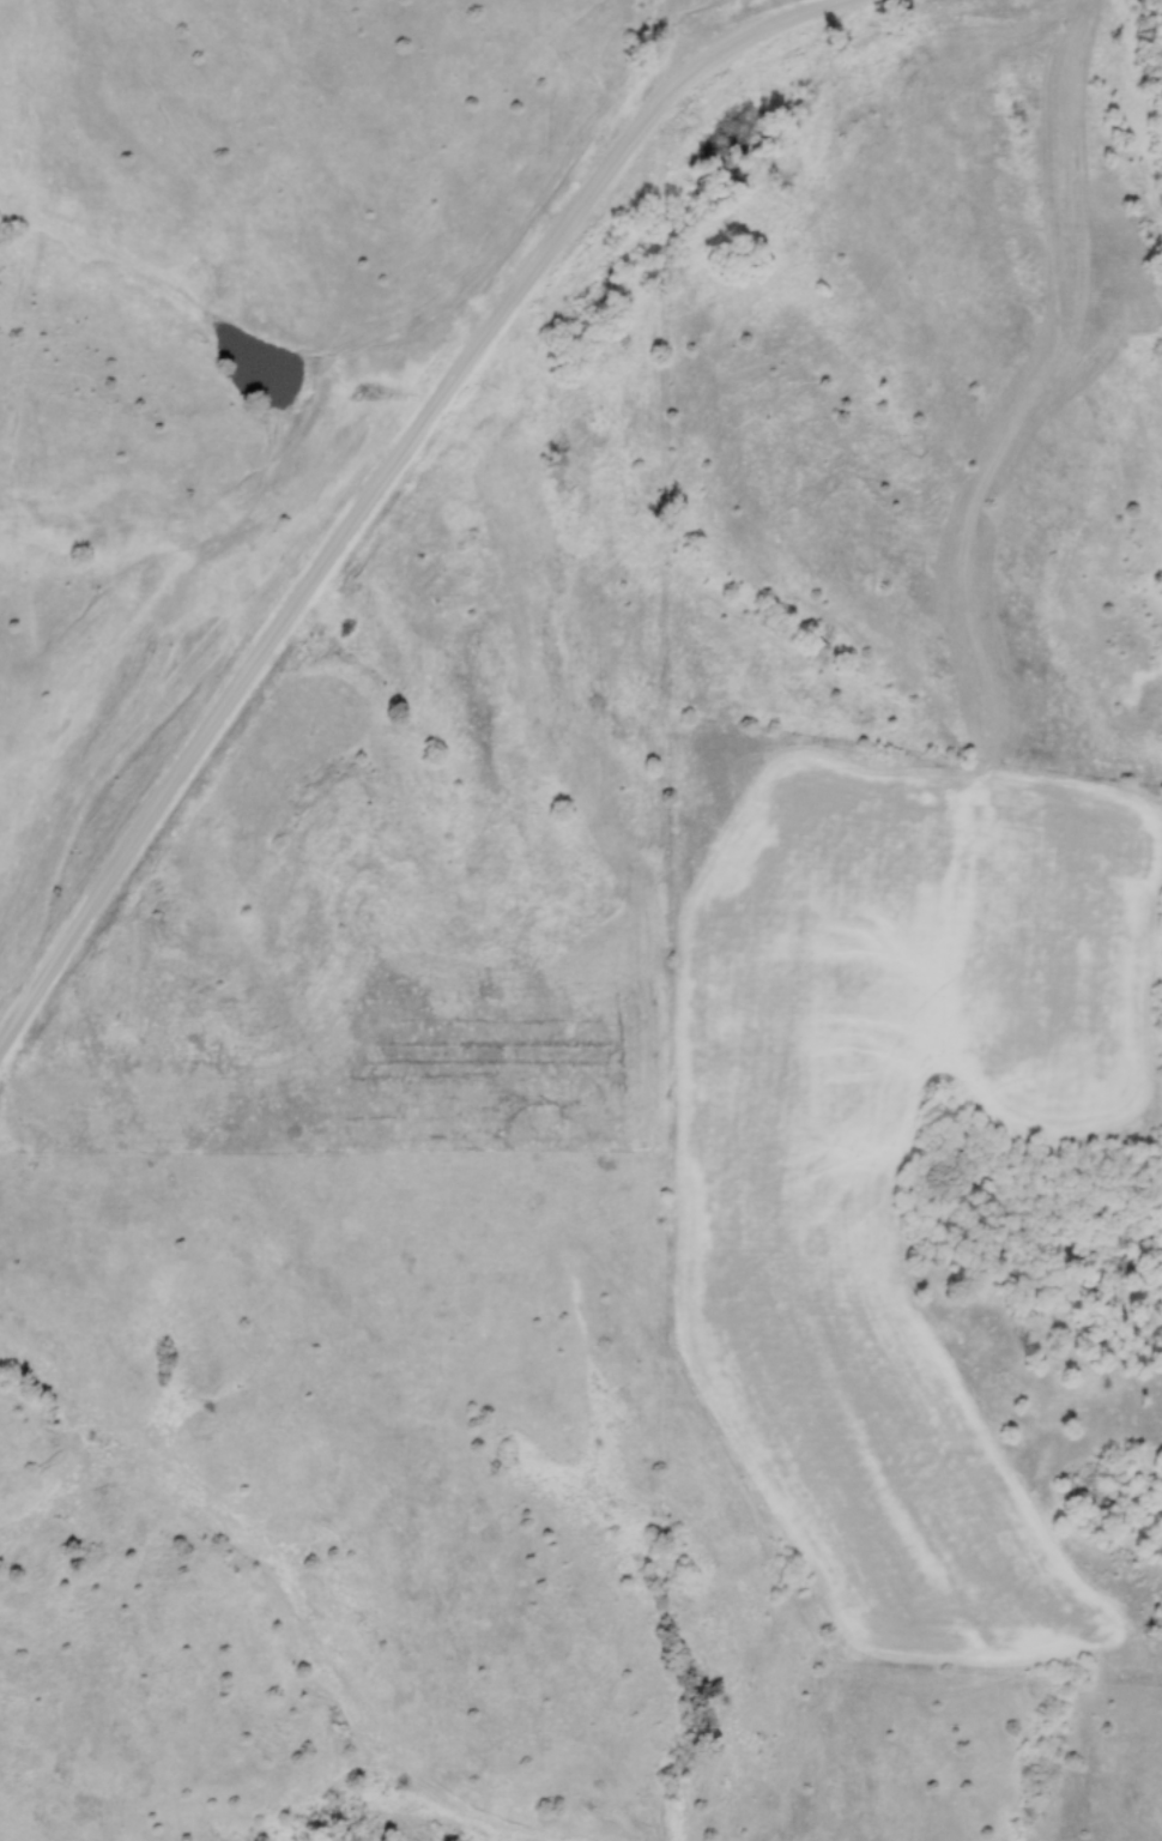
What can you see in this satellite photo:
road: (385, 475)

